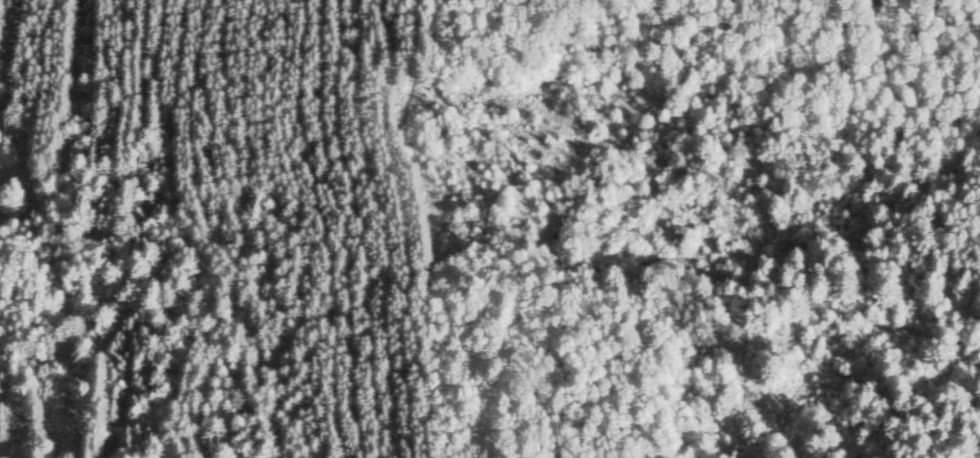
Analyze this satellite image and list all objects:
road: (528, 174)
road: (759, 288)
road: (614, 293)

